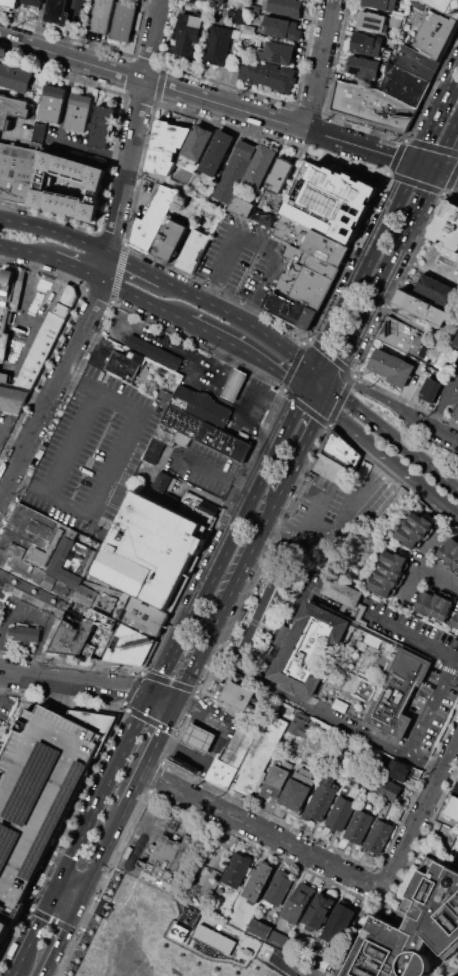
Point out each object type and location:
building: (216, 1)
building: (8, 3)
building: (32, 3)
building: (379, 5)
building: (285, 6)
building: (444, 6)
building: (255, 8)
building: (56, 12)
building: (229, 12)
building: (239, 15)
building: (102, 16)
building: (124, 21)
building: (369, 22)
building: (396, 23)
road: (69, 27)
building: (281, 28)
building: (248, 29)
road: (66, 34)
building: (435, 34)
building: (187, 38)
building: (217, 44)
building: (365, 47)
building: (277, 53)
road: (148, 60)
building: (416, 62)
road: (319, 64)
building: (362, 70)
road: (130, 75)
building: (268, 75)
building: (15, 77)
road: (159, 83)
road: (229, 85)
road: (431, 85)
building: (405, 86)
road: (139, 98)
building: (52, 104)
building: (370, 104)
road: (229, 106)
building: (12, 109)
road: (308, 109)
building: (78, 112)
road: (136, 126)
building: (102, 127)
road: (363, 127)
building: (38, 134)
road: (55, 137)
road: (115, 145)
building: (196, 145)
building: (166, 146)
road: (431, 146)
road: (319, 151)
building: (216, 152)
road: (395, 157)
traffic signals: (415, 162)
building: (259, 168)
traffic signals: (438, 169)
building: (234, 170)
building: (17, 172)
building: (279, 175)
road: (450, 179)
road: (413, 182)
building: (69, 184)
road: (428, 187)
building: (327, 202)
building: (241, 206)
building: (153, 220)
road: (129, 222)
road: (384, 223)
building: (446, 227)
road: (55, 232)
road: (109, 235)
building: (171, 241)
building: (310, 242)
road: (253, 243)
road: (25, 251)
building: (193, 252)
parking lot: (243, 259)
road: (346, 259)
building: (311, 263)
road: (106, 266)
road: (134, 266)
road: (77, 268)
road: (118, 272)
building: (9, 276)
road: (397, 284)
building: (304, 287)
building: (436, 292)
road: (97, 294)
building: (65, 300)
road: (145, 301)
road: (109, 306)
building: (422, 309)
building: (291, 313)
road: (364, 316)
building: (4, 317)
road: (250, 325)
road: (60, 334)
road: (160, 336)
building: (398, 336)
building: (456, 343)
building: (3, 344)
building: (154, 352)
road: (247, 352)
road: (330, 356)
building: (115, 362)
road: (291, 365)
building: (29, 366)
building: (392, 369)
building: (162, 370)
traffic signals: (312, 371)
road: (257, 374)
road: (213, 377)
road: (307, 380)
building: (234, 384)
gas station: (234, 384)
traffic signals: (330, 386)
road: (52, 390)
traffic signals: (303, 390)
building: (432, 392)
road: (325, 394)
building: (181, 396)
road: (300, 396)
road: (312, 396)
road: (272, 397)
road: (381, 398)
road: (340, 399)
traffic signals: (321, 403)
road: (304, 407)
building: (208, 409)
building: (456, 415)
road: (287, 422)
road: (238, 423)
parking lot: (6, 425)
road: (131, 426)
road: (443, 431)
building: (207, 433)
road: (393, 438)
road: (367, 440)
road: (12, 445)
road: (299, 448)
parking lot: (94, 451)
building: (338, 456)
parking lot: (201, 465)
road: (217, 473)
building: (163, 489)
road: (435, 497)
road: (309, 503)
road: (11, 506)
building: (198, 508)
road: (331, 525)
road: (234, 528)
building: (415, 529)
road: (212, 532)
building: (151, 552)
building: (450, 553)
building: (37, 560)
road: (261, 560)
building: (389, 573)
road: (437, 577)
building: (340, 591)
building: (2, 594)
building: (85, 594)
road: (224, 599)
building: (105, 602)
building: (434, 605)
building: (141, 614)
building: (240, 615)
road: (35, 617)
building: (102, 619)
building: (455, 620)
building: (25, 633)
building: (76, 635)
building: (375, 635)
building: (129, 646)
building: (309, 650)
road: (69, 660)
road: (450, 662)
road: (2, 676)
road: (255, 680)
road: (167, 681)
road: (87, 683)
parking lot: (441, 683)
road: (197, 686)
road: (131, 687)
road: (43, 689)
building: (229, 691)
building: (396, 695)
traffic signals: (152, 696)
road: (191, 705)
building: (340, 705)
traffic signals: (172, 706)
road: (125, 708)
road: (150, 721)
building: (299, 724)
road: (176, 729)
road: (175, 738)
building: (198, 738)
road: (129, 741)
road: (216, 742)
building: (260, 756)
road: (148, 757)
building: (230, 757)
road: (424, 762)
building: (398, 770)
building: (306, 772)
road: (155, 776)
road: (89, 777)
building: (275, 781)
building: (382, 786)
building: (455, 787)
building: (41, 788)
parking lot: (41, 788)
building: (294, 794)
building: (321, 797)
building: (452, 808)
building: (394, 812)
building: (339, 813)
road: (420, 813)
building: (358, 826)
building: (456, 827)
road: (142, 830)
road: (261, 832)
building: (377, 835)
road: (109, 840)
road: (121, 844)
road: (50, 856)
road: (56, 861)
building: (160, 863)
road: (45, 868)
traffic signals: (66, 869)
building: (235, 869)
road: (61, 879)
building: (258, 880)
road: (37, 882)
road: (75, 883)
road: (45, 884)
road: (87, 887)
building: (278, 888)
traffic signals: (57, 889)
road: (69, 895)
traffic signals: (81, 901)
building: (298, 902)
road: (28, 908)
building: (319, 911)
road: (88, 913)
road: (53, 919)
road: (16, 925)
building: (336, 927)
building: (413, 927)
building: (259, 928)
building: (3, 930)
road: (35, 930)
road: (77, 931)
road: (62, 938)
building: (213, 938)
road: (69, 952)
road: (14, 974)

